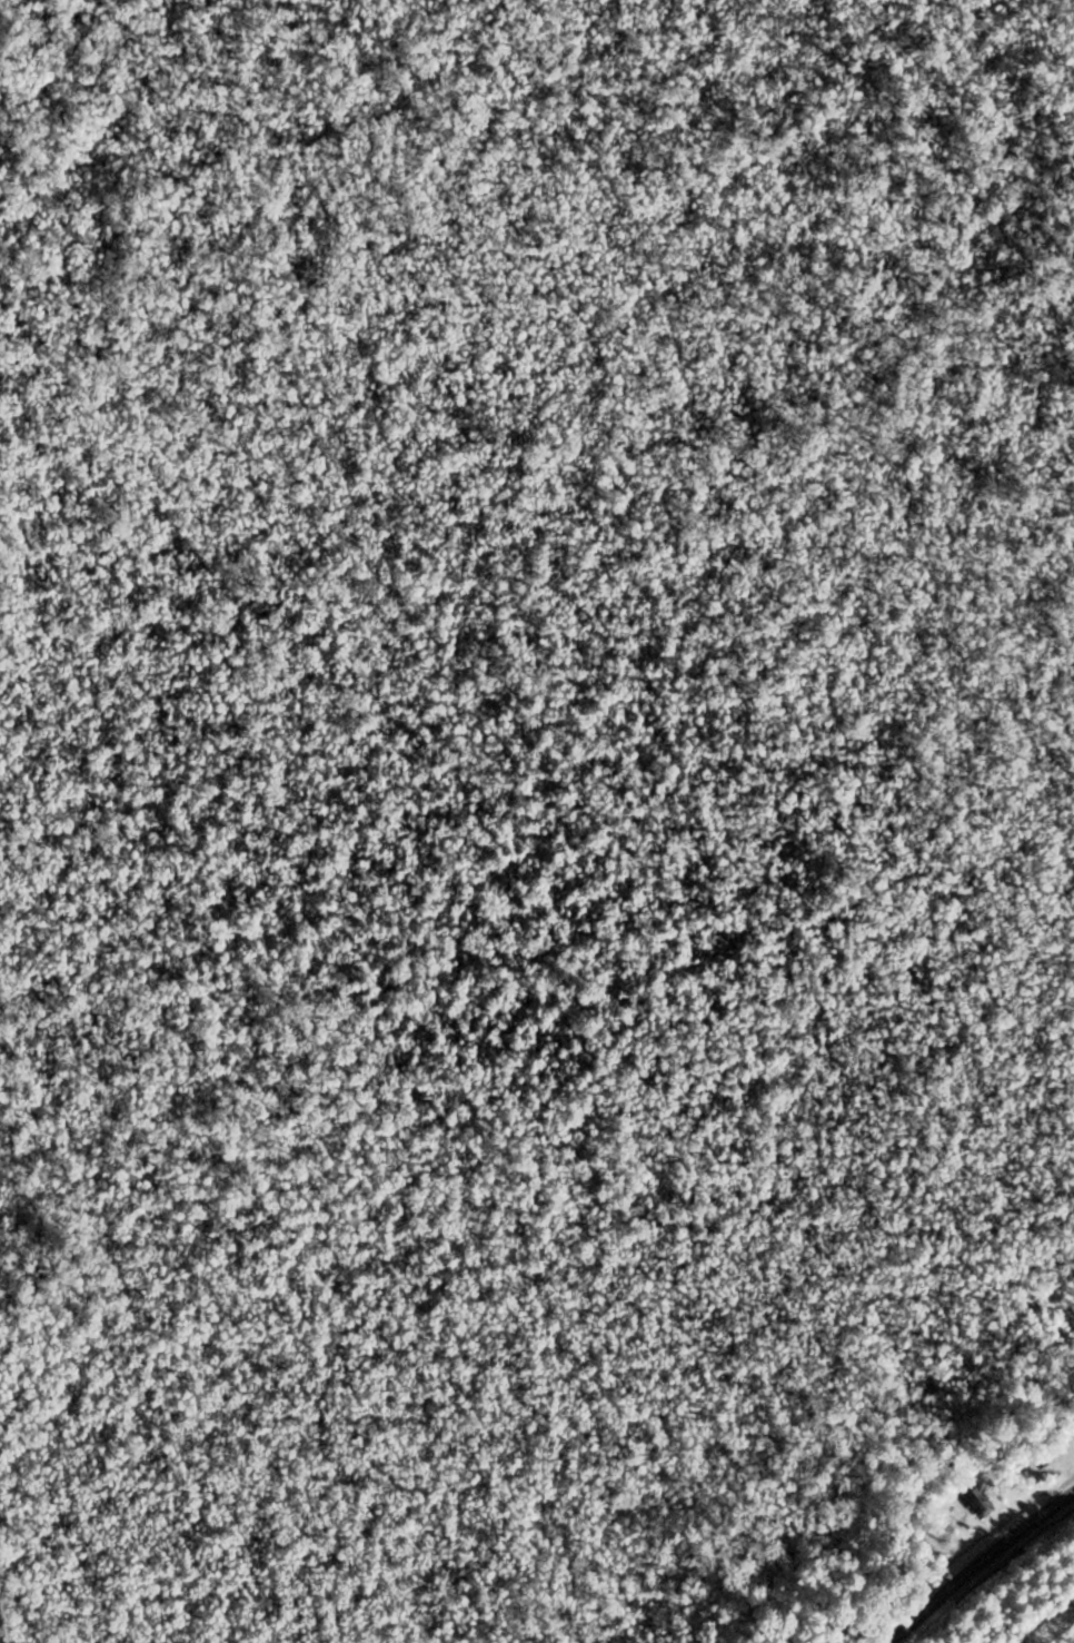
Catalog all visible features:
building: (977, 1500)
road: (981, 1570)

